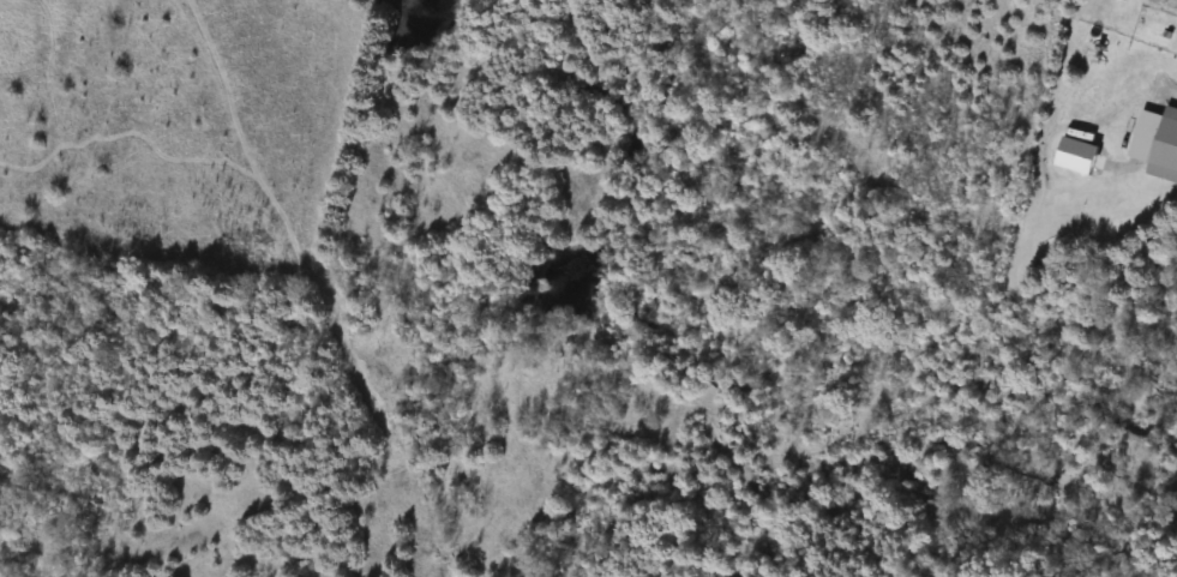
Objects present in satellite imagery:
building: (1165, 145)

